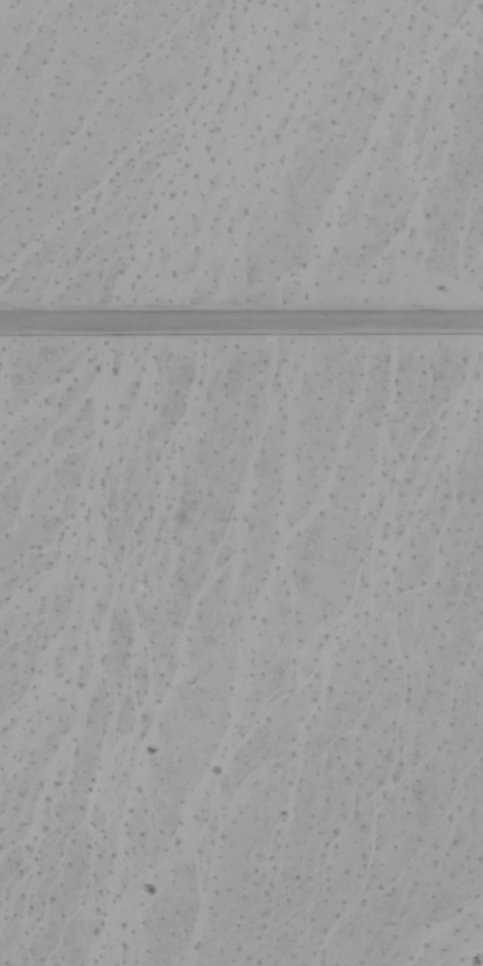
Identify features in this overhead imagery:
solar farm: (241, 166)
road: (241, 320)

